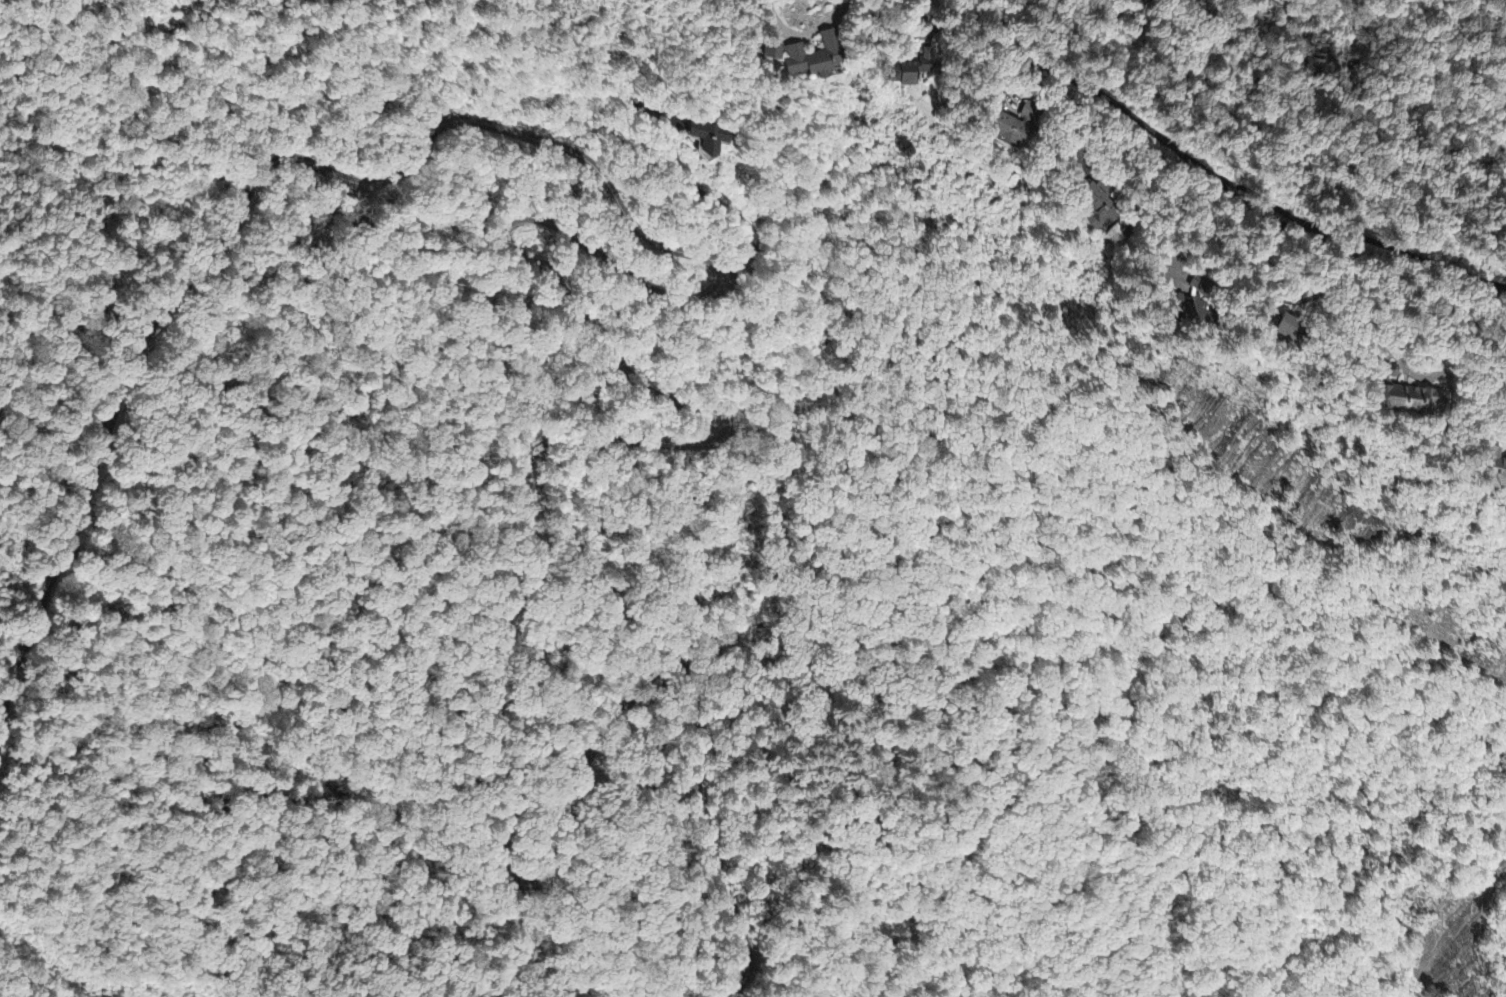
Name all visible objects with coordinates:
building: (802, 58)
road: (494, 128)
building: (1015, 129)
building: (707, 139)
road: (1222, 182)
building: (1095, 210)
building: (1193, 306)
building: (1289, 330)
building: (1411, 401)
building: (1499, 475)
road: (490, 714)
road: (709, 839)

